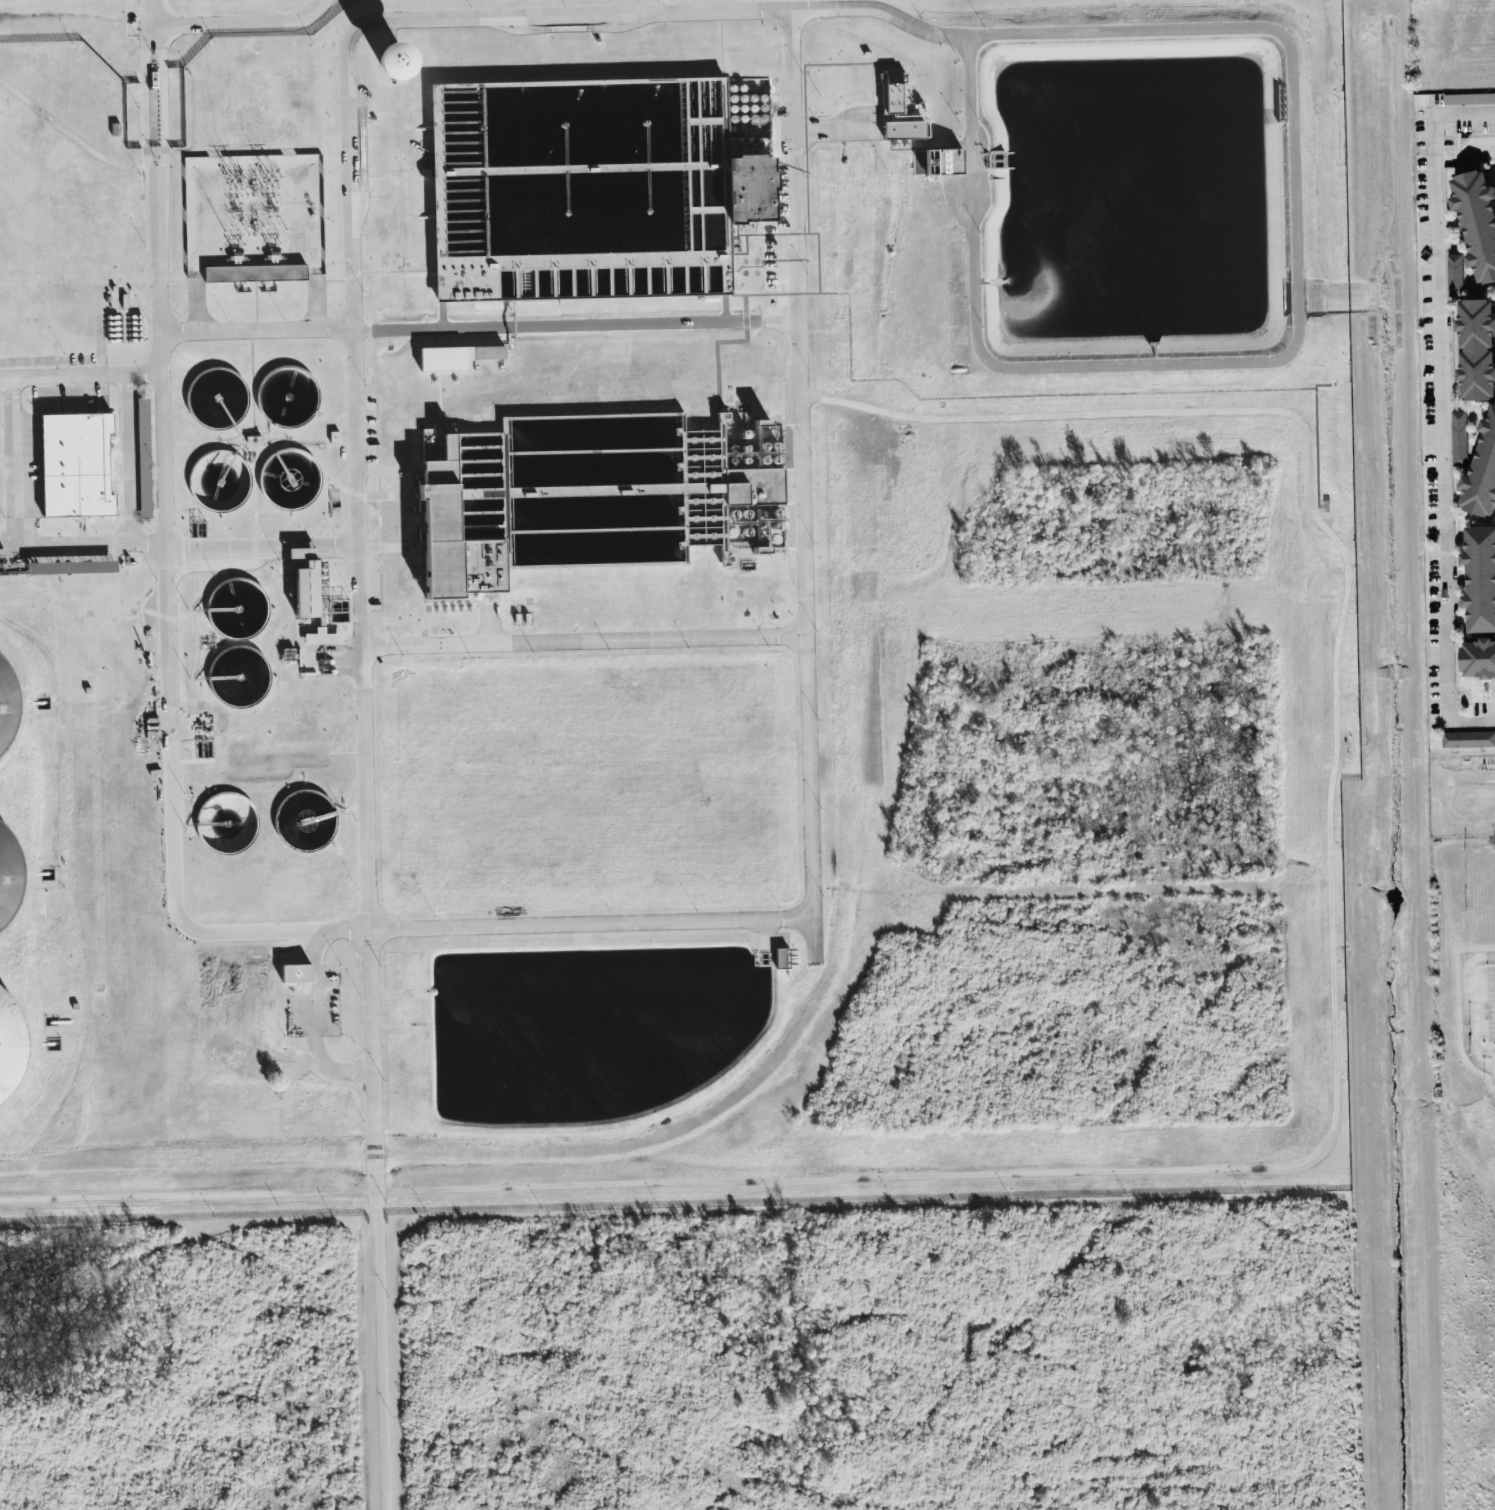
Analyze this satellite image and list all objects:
road: (548, 4)
building: (392, 60)
building: (1469, 97)
building: (899, 110)
road: (74, 136)
building: (937, 161)
power tower: (235, 177)
power tower: (272, 177)
building: (748, 188)
power substation: (254, 213)
building: (1478, 219)
building: (255, 272)
building: (491, 272)
building: (1455, 273)
road: (487, 332)
road: (165, 347)
building: (1478, 349)
building: (456, 356)
road: (81, 376)
road: (1444, 413)
building: (1460, 437)
road: (135, 459)
building: (76, 464)
building: (1482, 472)
building: (739, 478)
road: (812, 479)
building: (451, 528)
road: (107, 543)
building: (302, 552)
building: (1481, 577)
building: (307, 589)
building: (321, 636)
road: (320, 642)
road: (590, 645)
building: (1479, 657)
building: (1468, 738)
road: (369, 755)
road: (172, 887)
road: (478, 924)
building: (782, 957)
building: (296, 972)
road: (1471, 1003)
building: (10, 1044)
road: (1283, 1167)

